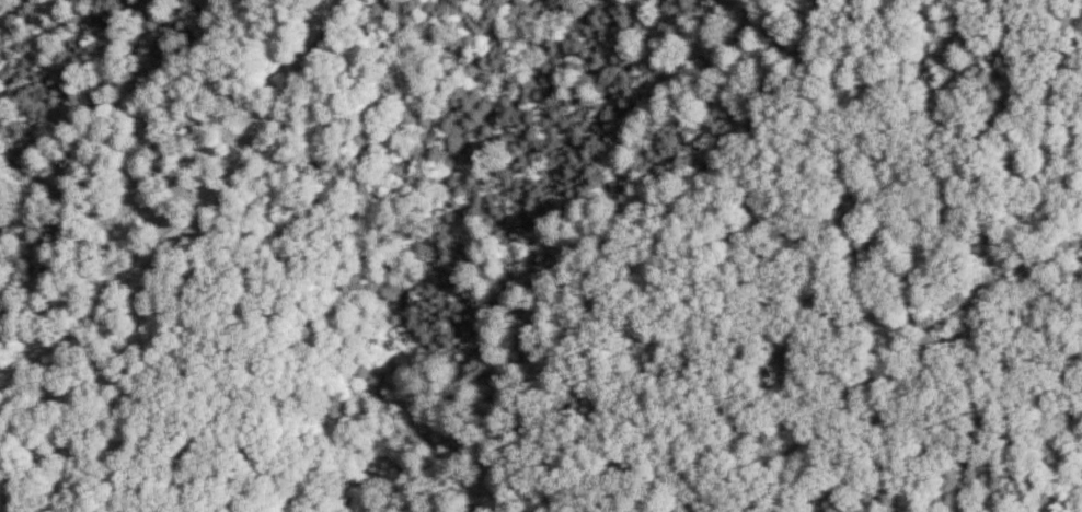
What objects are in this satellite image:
road: (202, 214)

